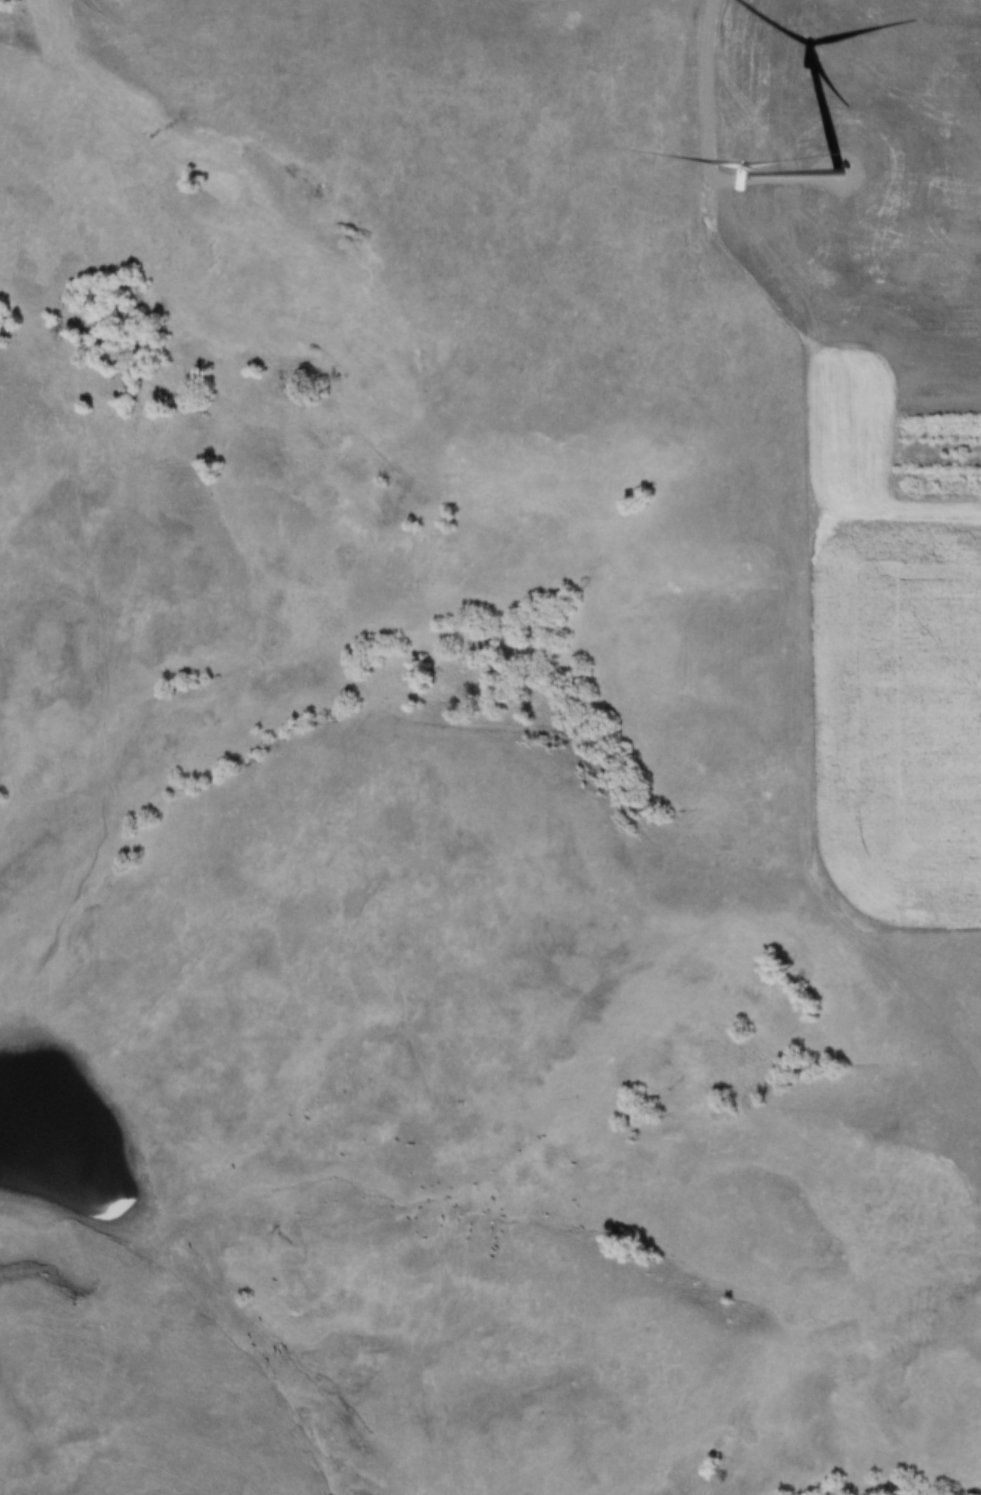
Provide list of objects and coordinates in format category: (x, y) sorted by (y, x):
road: (704, 142)
wind turbine: (844, 166)

